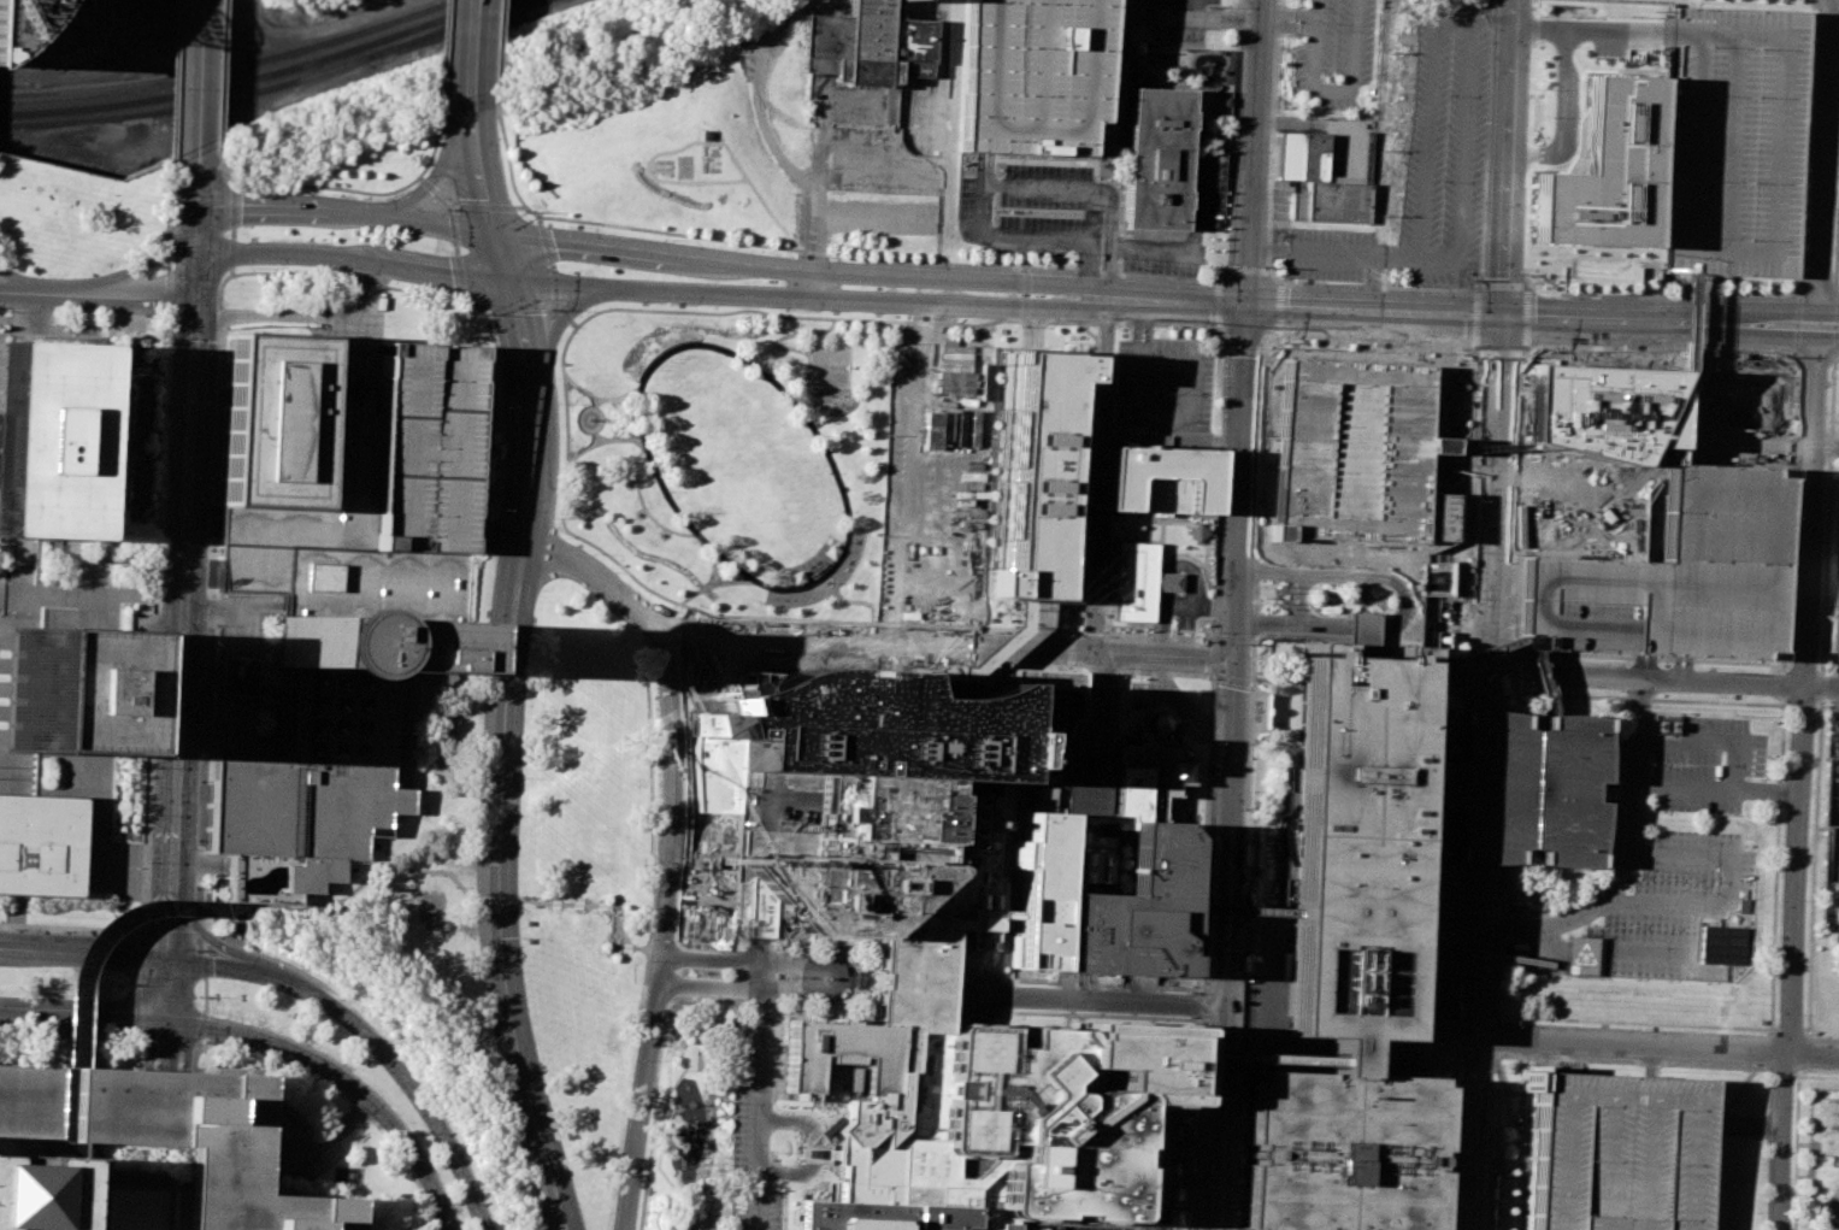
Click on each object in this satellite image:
building: (59, 0)
parking lot: (1297, 0)
parking lot: (76, 2)
street lamp: (1538, 7)
road: (1173, 17)
road: (1490, 17)
building: (14, 18)
railway: (444, 28)
railway: (455, 28)
road: (1596, 31)
road: (501, 42)
road: (493, 45)
building: (867, 46)
road: (475, 48)
parking lot: (1336, 51)
road: (443, 52)
railway: (232, 66)
road: (224, 67)
road: (939, 70)
road: (200, 73)
railway: (254, 77)
road: (175, 78)
street lamp: (1534, 88)
road: (761, 99)
railway: (189, 106)
road: (1461, 107)
road: (1088, 112)
road: (1562, 112)
road: (1255, 120)
road: (476, 128)
building: (1733, 139)
parking garage: (1733, 139)
road: (1811, 142)
parking lot: (866, 145)
road: (1726, 145)
building: (1107, 151)
street lamp: (1230, 151)
road: (818, 157)
building: (1157, 157)
road: (1823, 159)
road: (1510, 160)
parking lot: (1424, 165)
road: (444, 166)
road: (910, 170)
building: (1604, 172)
road: (967, 176)
street lamp: (1532, 180)
road: (483, 182)
building: (1318, 182)
road: (196, 187)
road: (341, 188)
road: (1043, 188)
street lamp: (255, 190)
road: (435, 190)
street lamp: (360, 196)
road: (170, 198)
road: (290, 206)
street lamp: (447, 208)
street lamp: (526, 213)
road: (452, 216)
road: (493, 222)
road: (541, 222)
road: (443, 226)
road: (232, 229)
traffic signals: (496, 239)
street lamp: (665, 239)
road: (1110, 239)
road: (1770, 243)
road: (169, 246)
road: (195, 247)
road: (284, 252)
street lamp: (791, 254)
street lamp: (908, 258)
road: (502, 260)
road: (552, 261)
road: (169, 264)
road: (947, 264)
road: (1091, 264)
street lamp: (1041, 265)
road: (142, 266)
street lamp: (249, 266)
street lamp: (1273, 267)
road: (1249, 269)
street lamp: (1528, 269)
street lamp: (344, 272)
road: (443, 272)
road: (872, 273)
road: (1248, 275)
street lamp: (1167, 277)
road: (176, 278)
street lamp: (1464, 278)
street lamp: (1290, 279)
road: (195, 283)
traffic signals: (508, 283)
road: (813, 284)
road: (10, 286)
road: (558, 286)
road: (1378, 286)
street lamp: (1538, 287)
street lamp: (1764, 290)
road: (176, 293)
street lamp: (1648, 293)
road: (169, 294)
road: (1026, 294)
road: (78, 295)
road: (926, 301)
street lamp: (665, 302)
road: (550, 305)
road: (556, 305)
road: (517, 306)
street lamp: (552, 308)
traffic signals: (1248, 308)
street lamp: (786, 310)
street lamp: (479, 313)
road: (1377, 314)
road: (305, 316)
road: (570, 317)
street lamp: (152, 318)
street lamp: (907, 318)
road: (1831, 318)
road: (1664, 320)
road: (169, 322)
road: (1831, 322)
traffic signals: (1505, 323)
road: (558, 326)
street lamp: (1165, 326)
road: (521, 332)
street lamp: (1285, 339)
street lamp: (1369, 343)
street lamp: (1619, 345)
road: (789, 347)
street lamp: (1224, 347)
street lamp: (1456, 347)
road: (1248, 348)
street lamp: (1696, 349)
road: (354, 351)
road: (1472, 352)
street lamp: (1474, 352)
street lamp: (1536, 352)
street lamp: (1762, 352)
street lamp: (216, 353)
road: (754, 357)
road: (1245, 359)
park: (830, 366)
road: (570, 379)
parking lot: (1162, 382)
street lamp: (169, 386)
road: (1091, 387)
road: (613, 396)
street lamp: (559, 402)
street lamp: (501, 407)
road: (506, 410)
road: (1260, 410)
road: (580, 414)
road: (599, 418)
street lamp: (213, 419)
street lamp: (1827, 422)
street lamp: (166, 432)
building: (58, 436)
road: (1532, 439)
road: (597, 441)
road: (602, 443)
building: (1579, 446)
road: (1828, 446)
building: (1352, 448)
parking garage: (1352, 448)
road: (212, 466)
road: (566, 471)
road: (906, 472)
building: (1037, 475)
street lamp: (164, 479)
building: (1165, 481)
street lamp: (211, 484)
street lamp: (1475, 500)
road: (644, 506)
street lamp: (1221, 507)
street lamp: (497, 508)
street lamp: (1835, 508)
road: (1498, 517)
street lamp: (556, 518)
street lamp: (163, 526)
road: (159, 543)
street lamp: (210, 549)
street lamp: (594, 553)
road: (1098, 553)
road: (714, 567)
road: (744, 572)
parking lot: (1670, 576)
street lamp: (160, 577)
building: (1676, 577)
building: (1436, 578)
building: (1134, 582)
road: (824, 587)
road: (1173, 590)
building: (340, 593)
road: (695, 593)
road: (1299, 596)
road: (848, 600)
road: (1404, 600)
street lamp: (1470, 605)
street lamp: (1832, 607)
road: (182, 626)
street lamp: (485, 626)
road: (1166, 629)
street lamp: (532, 631)
road: (1094, 631)
street lamp: (1216, 631)
road: (1163, 636)
road: (868, 640)
road: (1071, 648)
street lamp: (157, 653)
road: (1115, 653)
road: (1463, 657)
road: (523, 658)
road: (138, 659)
road: (1213, 659)
road: (237, 673)
road: (1542, 682)
road: (1649, 683)
road: (1213, 684)
street lamp: (1525, 687)
road: (6, 688)
road: (1834, 689)
road: (1838, 689)
building: (59, 690)
street lamp: (1619, 691)
street lamp: (1717, 695)
street lamp: (1779, 700)
street lamp: (1829, 701)
road: (1184, 707)
street lamp: (154, 719)
street lamp: (654, 731)
building: (877, 741)
parking garage: (877, 741)
street lamp: (1213, 743)
road: (1705, 745)
road: (96, 755)
street lamp: (153, 766)
street lamp: (478, 772)
road: (1803, 775)
street lamp: (523, 777)
building: (1148, 777)
street lamp: (199, 781)
park: (591, 781)
road: (1486, 785)
road: (1720, 787)
road: (708, 798)
road: (688, 805)
road: (501, 810)
street lamp: (152, 816)
road: (1230, 819)
road: (1089, 820)
building: (1409, 830)
street lamp: (196, 840)
building: (40, 844)
street lamp: (149, 861)
street lamp: (655, 861)
road: (1631, 861)
parking lot: (1674, 866)
street lamp: (1207, 872)
road: (365, 883)
building: (1051, 885)
street lamp: (195, 888)
road: (497, 901)
road: (535, 902)
road: (567, 904)
road: (591, 904)
road: (1667, 905)
road: (652, 911)
road: (1240, 911)
building: (1134, 914)
parking garage: (1134, 914)
road: (1009, 917)
street lamp: (147, 920)
road: (614, 925)
road: (201, 926)
street lamp: (14, 929)
road: (73, 929)
road: (666, 930)
street lamp: (63, 931)
building: (1838, 931)
road: (222, 932)
street lamp: (124, 934)
street lamp: (216, 936)
street lamp: (521, 937)
road: (100, 938)
street lamp: (477, 944)
building: (1581, 949)
road: (87, 951)
road: (1723, 954)
helipad: (1580, 955)
traffic signals: (173, 958)
road: (1509, 959)
street lamp: (647, 960)
road: (735, 960)
road: (827, 960)
road: (643, 973)
street lamp: (1202, 979)
road: (136, 984)
road: (733, 988)
road: (171, 991)
street lamp: (211, 994)
road: (204, 995)
road: (1271, 1001)
road: (1092, 1002)
street lamp: (287, 1013)
road: (84, 1019)
traffic signals: (170, 1025)
road: (201, 1026)
building: (951, 1029)
street lamp: (55, 1032)
road: (84, 1036)
street lamp: (114, 1036)
street lamp: (207, 1040)
road: (373, 1040)
road: (706, 1042)
road: (1416, 1046)
road: (1474, 1046)
road: (1344, 1047)
road: (169, 1048)
helipad: (974, 1050)
road: (295, 1052)
road: (1656, 1052)
building: (1344, 1053)
road: (1260, 1057)
street lamp: (631, 1059)
street lamp: (360, 1061)
building: (1293, 1064)
road: (1802, 1071)
road: (1463, 1073)
road: (759, 1077)
road: (334, 1087)
road: (1609, 1089)
street lamp: (549, 1090)
road: (654, 1090)
street lamp: (505, 1101)
road: (73, 1108)
street lamp: (1196, 1113)
road: (1732, 1124)
road: (670, 1128)
helipad: (971, 1129)
road: (1796, 1131)
street lamp: (420, 1132)
road: (332, 1135)
building: (165, 1137)
road: (35, 1147)
building: (1343, 1150)
building: (1616, 1152)
parking lot: (1616, 1152)
road: (701, 1154)
street lamp: (618, 1157)
road: (1449, 1157)
road: (1595, 1159)
road: (1632, 1160)
road: (688, 1171)
road: (726, 1173)
road: (684, 1176)
road: (137, 1177)
road: (426, 1178)
road: (185, 1190)
building: (39, 1193)
road: (701, 1197)
street lamp: (456, 1202)
road: (692, 1217)
parking lot: (1098, 1228)
building: (1838, 1229)

